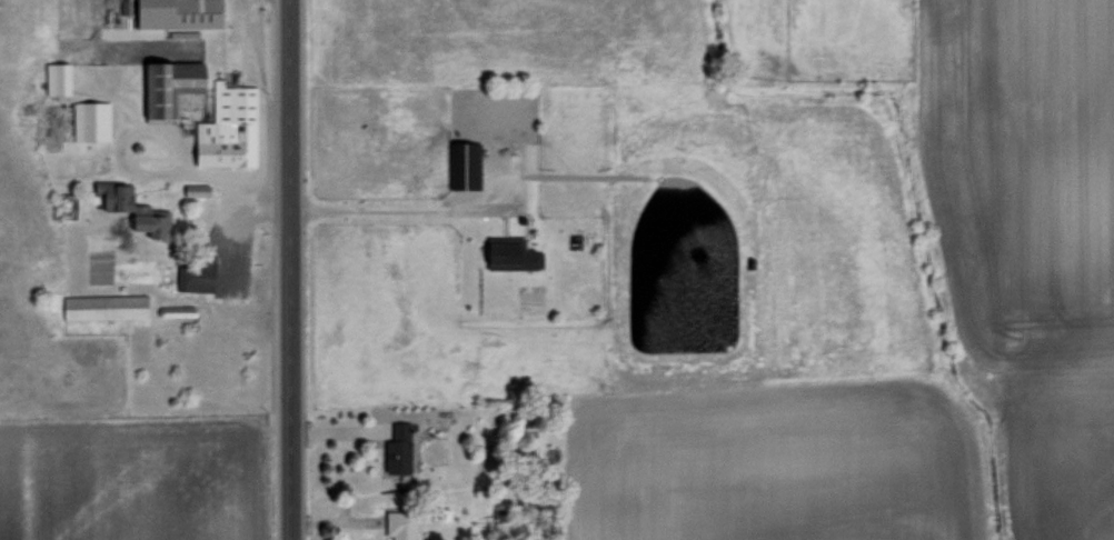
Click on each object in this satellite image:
building: (175, 12)
building: (54, 77)
building: (168, 86)
building: (89, 120)
building: (226, 127)
building: (462, 163)
building: (195, 189)
road: (385, 206)
building: (131, 208)
building: (509, 254)
road: (285, 270)
building: (193, 273)
building: (102, 306)
building: (396, 449)
building: (399, 524)

